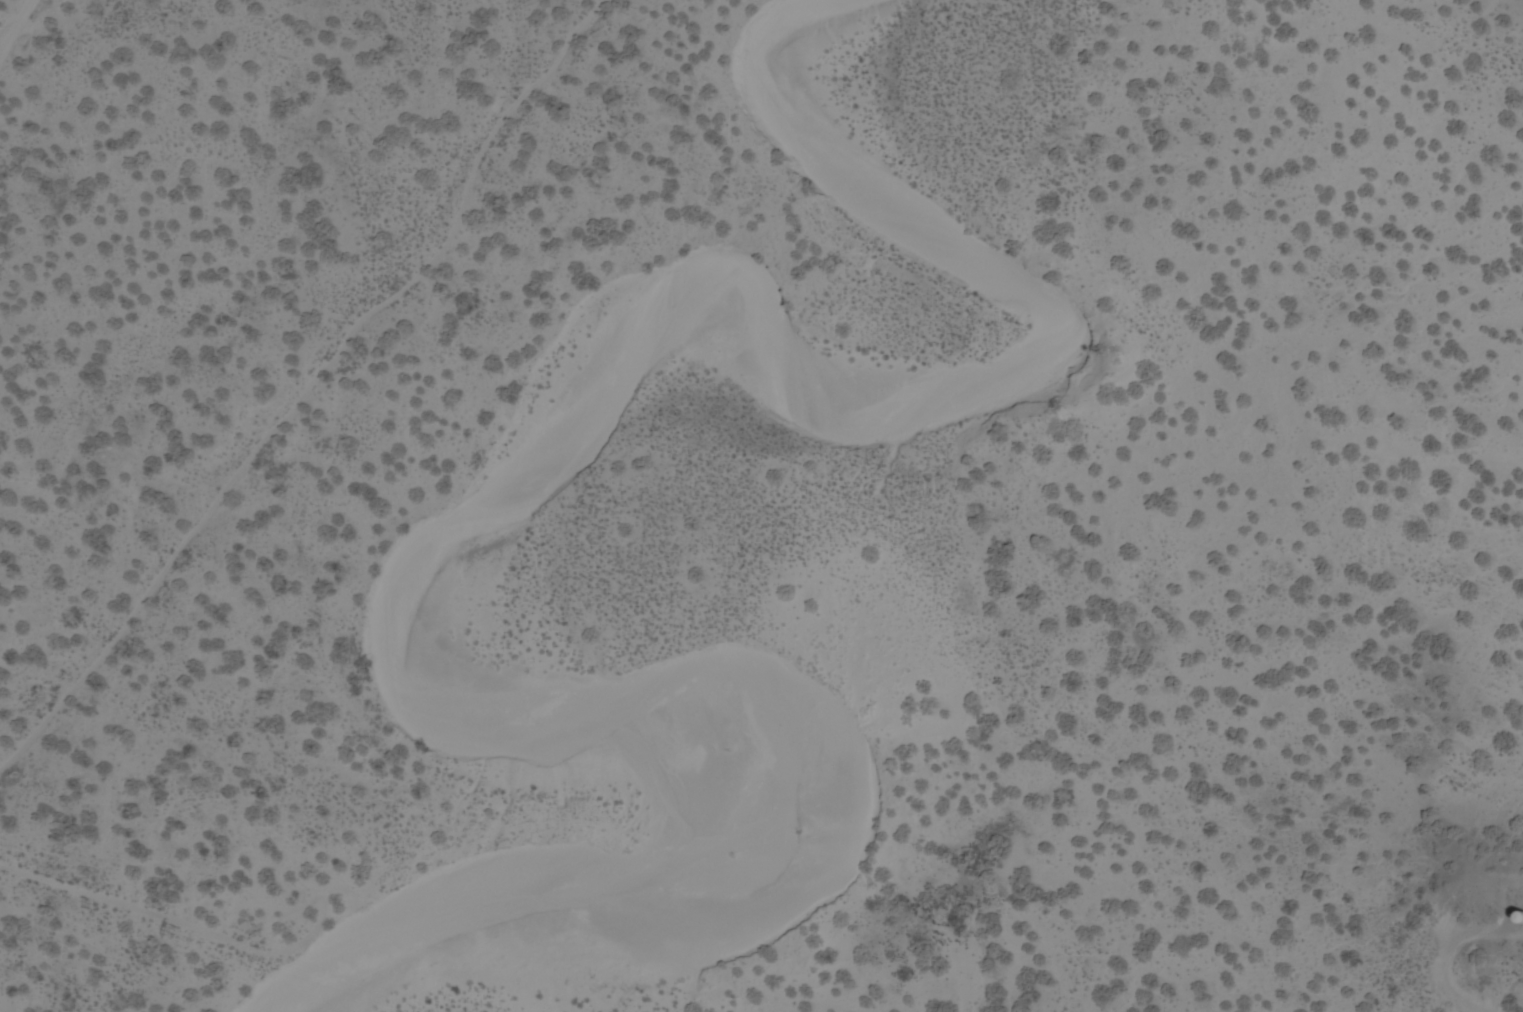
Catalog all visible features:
road: (36, 39)
power tower: (175, 931)

